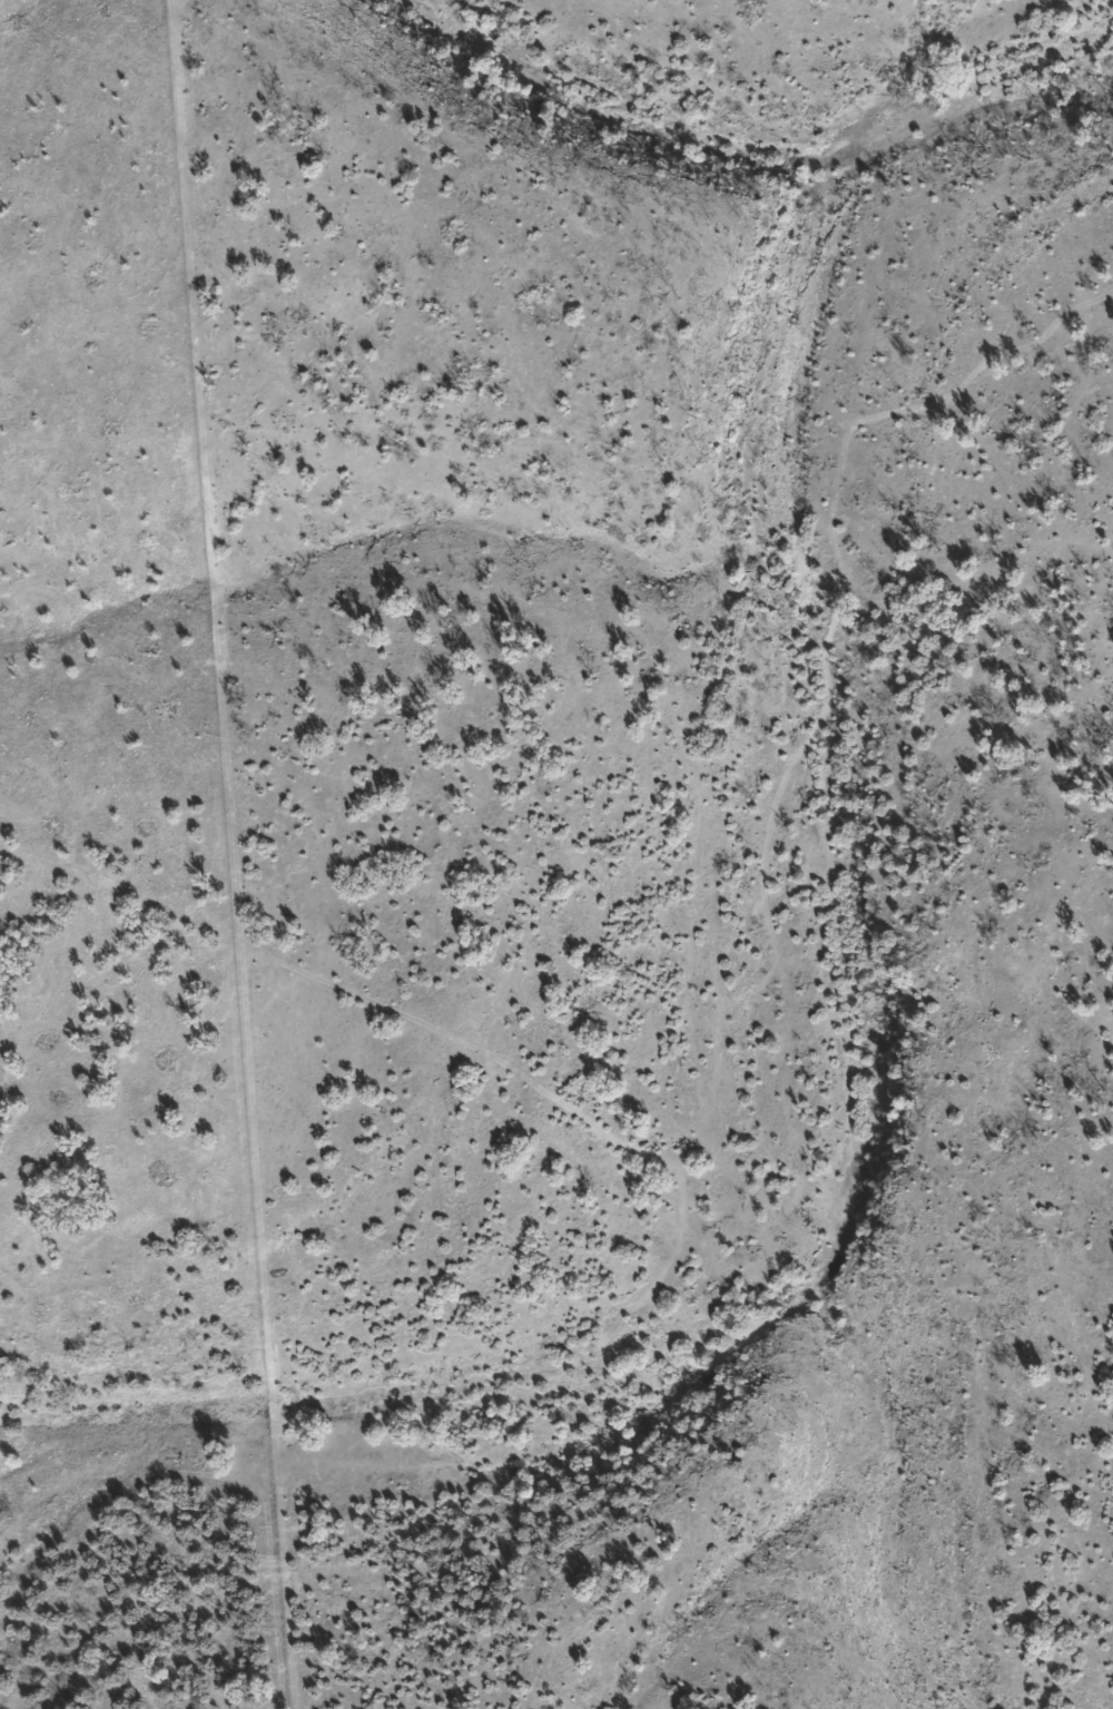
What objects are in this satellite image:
road: (683, 1273)

